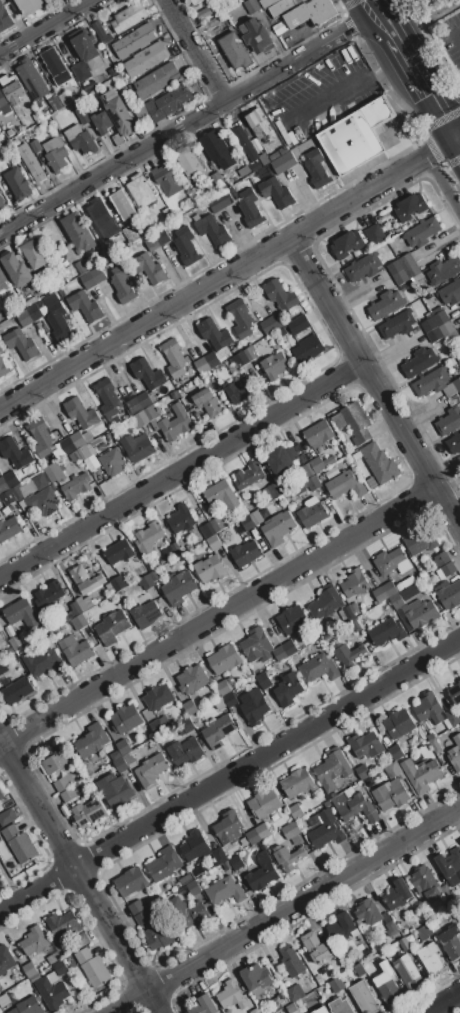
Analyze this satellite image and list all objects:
building: (189, 1)
building: (267, 3)
building: (31, 5)
building: (252, 6)
building: (215, 7)
building: (283, 7)
road: (361, 8)
road: (387, 12)
building: (204, 13)
building: (304, 13)
building: (5, 18)
building: (128, 18)
road: (376, 21)
road: (44, 26)
building: (101, 33)
road: (455, 35)
building: (257, 36)
building: (134, 40)
building: (88, 49)
road: (197, 49)
building: (235, 50)
building: (146, 59)
building: (55, 66)
building: (80, 71)
building: (113, 72)
building: (32, 79)
building: (157, 80)
building: (120, 82)
road: (419, 83)
building: (12, 89)
road: (343, 89)
building: (50, 94)
building: (3, 97)
building: (64, 98)
building: (55, 103)
building: (169, 103)
building: (40, 105)
building: (0, 110)
building: (119, 113)
building: (82, 115)
building: (35, 117)
building: (102, 122)
road: (183, 125)
building: (260, 125)
building: (41, 128)
building: (9, 132)
building: (356, 136)
road: (456, 137)
building: (81, 139)
building: (117, 139)
road: (456, 139)
traffic signals: (453, 140)
building: (15, 141)
building: (245, 141)
building: (35, 146)
road: (456, 146)
road: (437, 148)
building: (217, 149)
building: (282, 150)
building: (55, 154)
building: (274, 156)
building: (30, 162)
building: (188, 163)
building: (284, 163)
building: (255, 166)
building: (316, 168)
building: (244, 171)
building: (166, 180)
building: (218, 181)
building: (17, 183)
road: (442, 184)
building: (140, 190)
building: (276, 192)
building: (1, 199)
building: (219, 201)
building: (122, 204)
building: (410, 207)
building: (250, 208)
building: (168, 214)
building: (101, 217)
building: (213, 230)
building: (78, 231)
building: (131, 232)
building: (422, 232)
building: (374, 233)
building: (156, 240)
building: (347, 245)
building: (186, 246)
building: (35, 254)
building: (80, 266)
building: (363, 267)
building: (150, 268)
building: (16, 269)
building: (404, 269)
building: (444, 269)
building: (93, 277)
building: (2, 280)
road: (210, 283)
building: (122, 285)
building: (451, 292)
building: (280, 295)
building: (51, 300)
building: (85, 305)
building: (385, 305)
building: (29, 315)
building: (241, 318)
building: (271, 323)
building: (59, 324)
building: (437, 324)
building: (299, 325)
building: (396, 325)
building: (458, 329)
building: (214, 334)
building: (21, 344)
building: (258, 345)
building: (0, 346)
building: (0, 349)
building: (307, 350)
building: (174, 357)
building: (240, 359)
building: (419, 362)
building: (207, 363)
building: (275, 365)
building: (3, 368)
building: (147, 373)
building: (431, 381)
road: (374, 384)
building: (457, 384)
building: (238, 390)
building: (107, 398)
building: (137, 402)
building: (207, 402)
building: (81, 413)
building: (145, 416)
building: (448, 421)
building: (174, 422)
building: (353, 422)
building: (319, 433)
building: (41, 437)
building: (87, 437)
building: (72, 443)
building: (454, 443)
building: (137, 447)
building: (15, 453)
building: (282, 460)
building: (347, 460)
building: (112, 461)
building: (321, 463)
building: (379, 464)
road: (181, 471)
building: (306, 471)
building: (54, 472)
building: (332, 473)
building: (248, 475)
building: (261, 482)
building: (312, 482)
building: (346, 483)
building: (76, 486)
building: (9, 493)
building: (269, 493)
building: (220, 497)
building: (43, 501)
building: (278, 507)
building: (263, 513)
building: (312, 515)
building: (181, 519)
building: (247, 523)
building: (217, 524)
building: (278, 528)
building: (9, 529)
building: (206, 530)
building: (148, 537)
building: (420, 541)
building: (213, 542)
building: (171, 550)
building: (118, 551)
building: (245, 553)
building: (441, 559)
building: (391, 562)
building: (210, 569)
building: (446, 571)
building: (85, 579)
building: (147, 582)
building: (407, 582)
building: (118, 583)
building: (355, 583)
building: (178, 587)
building: (390, 588)
building: (49, 593)
building: (380, 594)
building: (449, 595)
building: (84, 603)
building: (325, 603)
building: (76, 608)
building: (354, 608)
building: (18, 610)
building: (420, 612)
building: (145, 613)
building: (348, 613)
road: (216, 616)
building: (292, 619)
building: (79, 621)
building: (355, 624)
building: (112, 627)
building: (386, 632)
building: (16, 643)
building: (257, 646)
building: (289, 648)
building: (76, 650)
building: (279, 653)
building: (348, 654)
building: (0, 656)
building: (224, 659)
building: (43, 662)
building: (3, 666)
building: (318, 668)
building: (459, 674)
building: (192, 679)
building: (264, 680)
building: (7, 682)
building: (223, 687)
building: (287, 689)
building: (17, 690)
building: (455, 692)
building: (158, 697)
building: (230, 700)
building: (220, 703)
building: (189, 707)
building: (429, 708)
building: (255, 709)
building: (459, 716)
building: (452, 717)
building: (126, 718)
building: (163, 721)
building: (398, 724)
building: (156, 726)
building: (218, 731)
building: (92, 740)
building: (365, 744)
building: (434, 745)
building: (123, 746)
building: (185, 751)
building: (395, 751)
building: (455, 753)
building: (115, 755)
building: (129, 758)
building: (55, 760)
building: (120, 764)
building: (151, 769)
building: (332, 769)
building: (391, 769)
building: (362, 771)
road: (229, 774)
building: (420, 774)
building: (64, 782)
building: (297, 782)
building: (369, 782)
building: (116, 789)
building: (71, 792)
building: (1, 794)
building: (390, 794)
building: (264, 802)
building: (355, 807)
building: (88, 811)
building: (296, 811)
building: (7, 816)
building: (228, 827)
building: (262, 830)
building: (291, 830)
building: (326, 830)
building: (253, 836)
building: (245, 840)
building: (19, 843)
building: (194, 846)
building: (219, 855)
building: (288, 857)
building: (236, 862)
building: (449, 862)
building: (164, 863)
building: (262, 872)
road: (79, 878)
building: (186, 879)
building: (130, 881)
building: (426, 882)
building: (194, 887)
building: (225, 890)
building: (397, 894)
building: (136, 907)
road: (286, 908)
building: (368, 911)
building: (183, 913)
building: (142, 917)
building: (63, 925)
building: (459, 925)
building: (341, 926)
building: (391, 928)
building: (424, 932)
building: (160, 936)
building: (34, 940)
building: (78, 942)
building: (451, 942)
building: (404, 943)
building: (56, 944)
building: (315, 946)
building: (83, 955)
building: (430, 957)
building: (5, 960)
building: (291, 961)
building: (59, 967)
building: (28, 969)
building: (359, 969)
building: (406, 969)
building: (96, 971)
building: (256, 976)
building: (319, 979)
building: (387, 983)
building: (336, 984)
building: (51, 993)
building: (295, 993)
building: (232, 995)
building: (364, 997)
road: (442, 1002)
building: (3, 1003)
building: (203, 1005)
building: (274, 1005)
building: (27, 1006)
building: (340, 1006)
building: (292, 1008)
building: (320, 1009)

